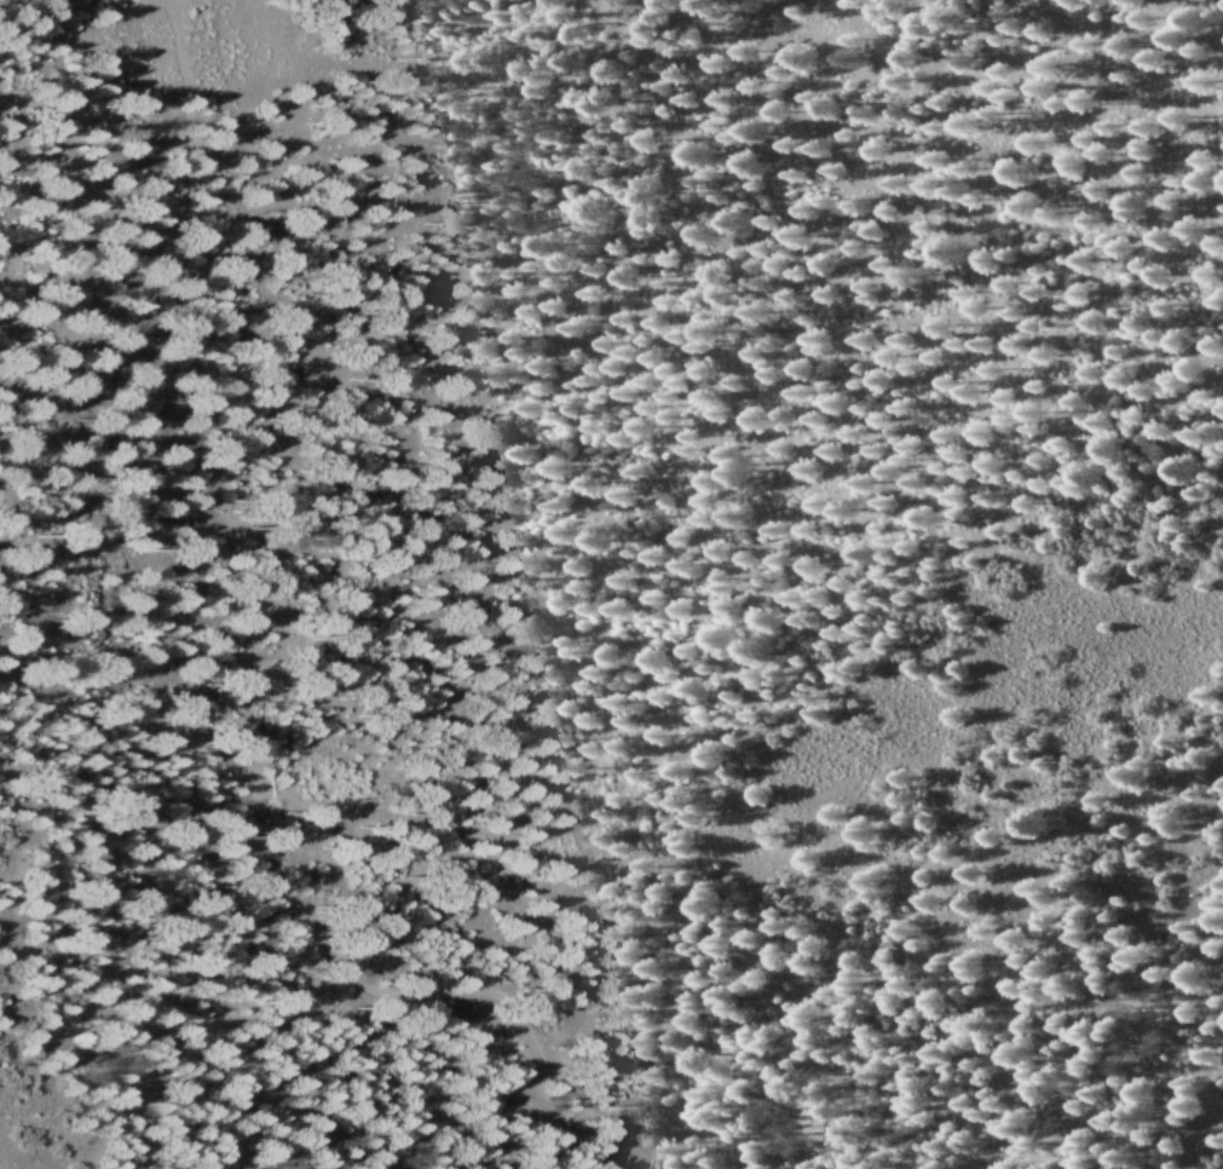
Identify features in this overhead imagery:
road: (237, 578)

